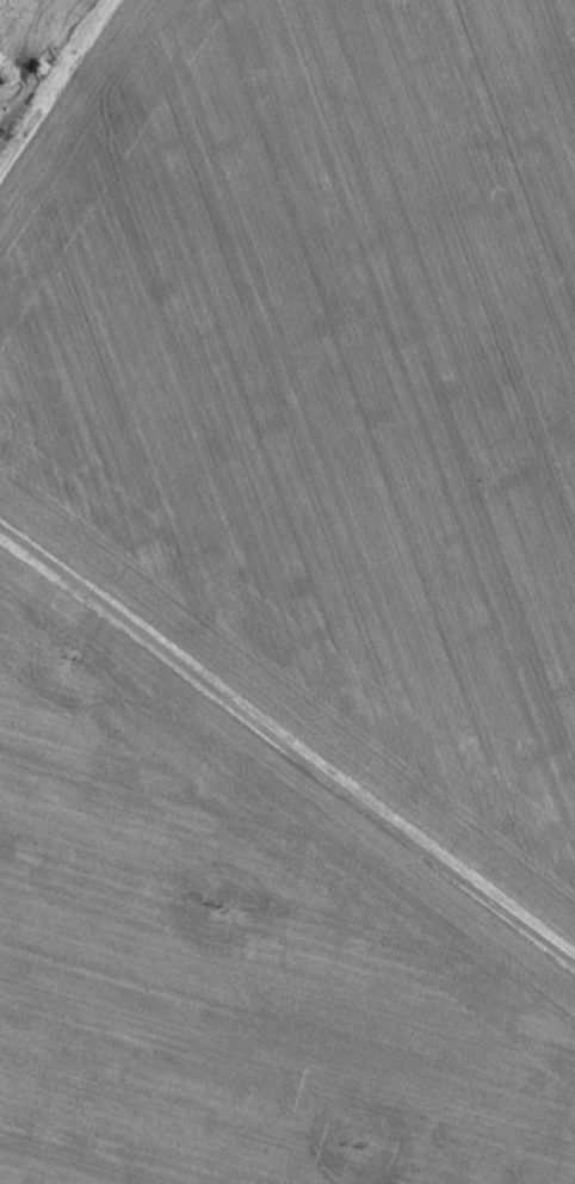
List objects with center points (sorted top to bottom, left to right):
road: (287, 753)

